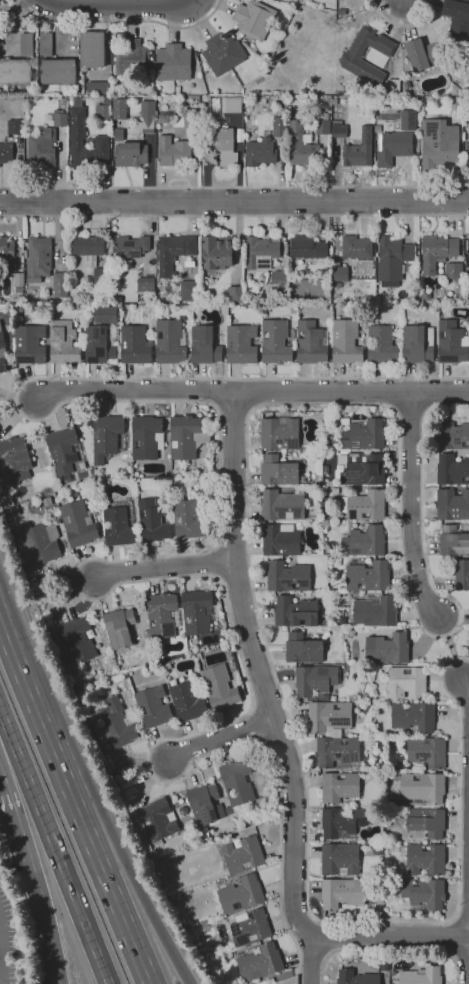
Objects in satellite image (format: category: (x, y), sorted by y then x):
road: (197, 1)
road: (400, 1)
road: (118, 3)
road: (420, 4)
building: (457, 16)
road: (391, 18)
building: (252, 19)
road: (404, 21)
road: (120, 22)
road: (402, 25)
building: (24, 44)
building: (44, 44)
building: (90, 49)
building: (221, 53)
building: (351, 55)
building: (424, 55)
building: (130, 56)
building: (171, 62)
building: (14, 70)
building: (56, 71)
building: (392, 85)
building: (406, 85)
building: (96, 86)
building: (230, 104)
building: (118, 108)
building: (146, 114)
building: (58, 118)
building: (407, 119)
building: (13, 126)
building: (321, 127)
building: (377, 128)
building: (338, 129)
building: (77, 137)
building: (438, 142)
building: (221, 145)
building: (393, 147)
building: (41, 148)
building: (301, 148)
building: (358, 150)
building: (5, 152)
building: (173, 152)
building: (260, 152)
building: (466, 154)
building: (130, 155)
road: (234, 187)
road: (234, 204)
road: (234, 216)
building: (131, 247)
building: (307, 247)
building: (356, 247)
building: (86, 249)
building: (173, 252)
building: (217, 252)
building: (260, 253)
building: (7, 254)
building: (24, 254)
building: (467, 255)
building: (441, 256)
building: (38, 259)
building: (392, 260)
building: (188, 264)
building: (340, 273)
building: (101, 278)
building: (60, 284)
building: (145, 284)
building: (277, 285)
building: (18, 286)
building: (189, 291)
building: (413, 292)
building: (235, 294)
building: (424, 296)
building: (19, 317)
building: (2, 340)
building: (170, 341)
building: (276, 342)
building: (345, 342)
building: (63, 343)
building: (311, 343)
building: (451, 343)
building: (29, 344)
building: (100, 344)
building: (417, 344)
building: (135, 345)
building: (204, 345)
building: (241, 345)
building: (381, 345)
building: (2, 365)
road: (256, 392)
road: (353, 392)
road: (139, 393)
road: (234, 413)
road: (409, 415)
building: (279, 433)
building: (450, 433)
building: (364, 435)
building: (106, 436)
building: (146, 437)
building: (186, 437)
building: (332, 444)
building: (64, 450)
building: (15, 460)
building: (363, 469)
building: (451, 470)
building: (278, 471)
building: (302, 478)
building: (24, 491)
building: (75, 494)
building: (452, 505)
building: (281, 506)
building: (366, 506)
road: (411, 507)
building: (14, 511)
road: (422, 511)
building: (55, 512)
building: (189, 519)
building: (152, 522)
building: (78, 524)
building: (118, 527)
building: (280, 540)
building: (452, 541)
building: (38, 542)
building: (364, 542)
road: (145, 557)
road: (163, 567)
building: (286, 575)
building: (462, 575)
building: (367, 576)
building: (374, 611)
building: (197, 612)
building: (295, 612)
building: (161, 615)
building: (119, 628)
building: (146, 634)
building: (74, 642)
building: (302, 648)
building: (387, 648)
road: (450, 648)
building: (198, 656)
road: (461, 660)
building: (168, 666)
road: (259, 669)
road: (273, 675)
building: (315, 680)
road: (25, 682)
building: (406, 682)
road: (465, 685)
building: (219, 688)
building: (365, 697)
building: (187, 702)
building: (153, 707)
building: (367, 707)
building: (413, 716)
building: (329, 717)
building: (113, 725)
road: (219, 738)
building: (380, 742)
building: (336, 751)
building: (426, 752)
road: (64, 780)
building: (236, 782)
building: (338, 787)
building: (423, 787)
building: (130, 791)
building: (205, 804)
building: (396, 806)
building: (153, 822)
building: (427, 822)
building: (341, 823)
road: (54, 850)
building: (377, 851)
building: (242, 855)
building: (339, 859)
building: (425, 859)
road: (31, 877)
building: (342, 892)
road: (139, 893)
building: (424, 893)
building: (241, 894)
road: (112, 898)
road: (293, 902)
road: (463, 913)
building: (249, 928)
road: (389, 936)
road: (449, 938)
road: (328, 939)
road: (1, 945)
road: (389, 950)
building: (259, 961)
road: (311, 961)
road: (1, 966)
building: (421, 976)
building: (356, 978)

